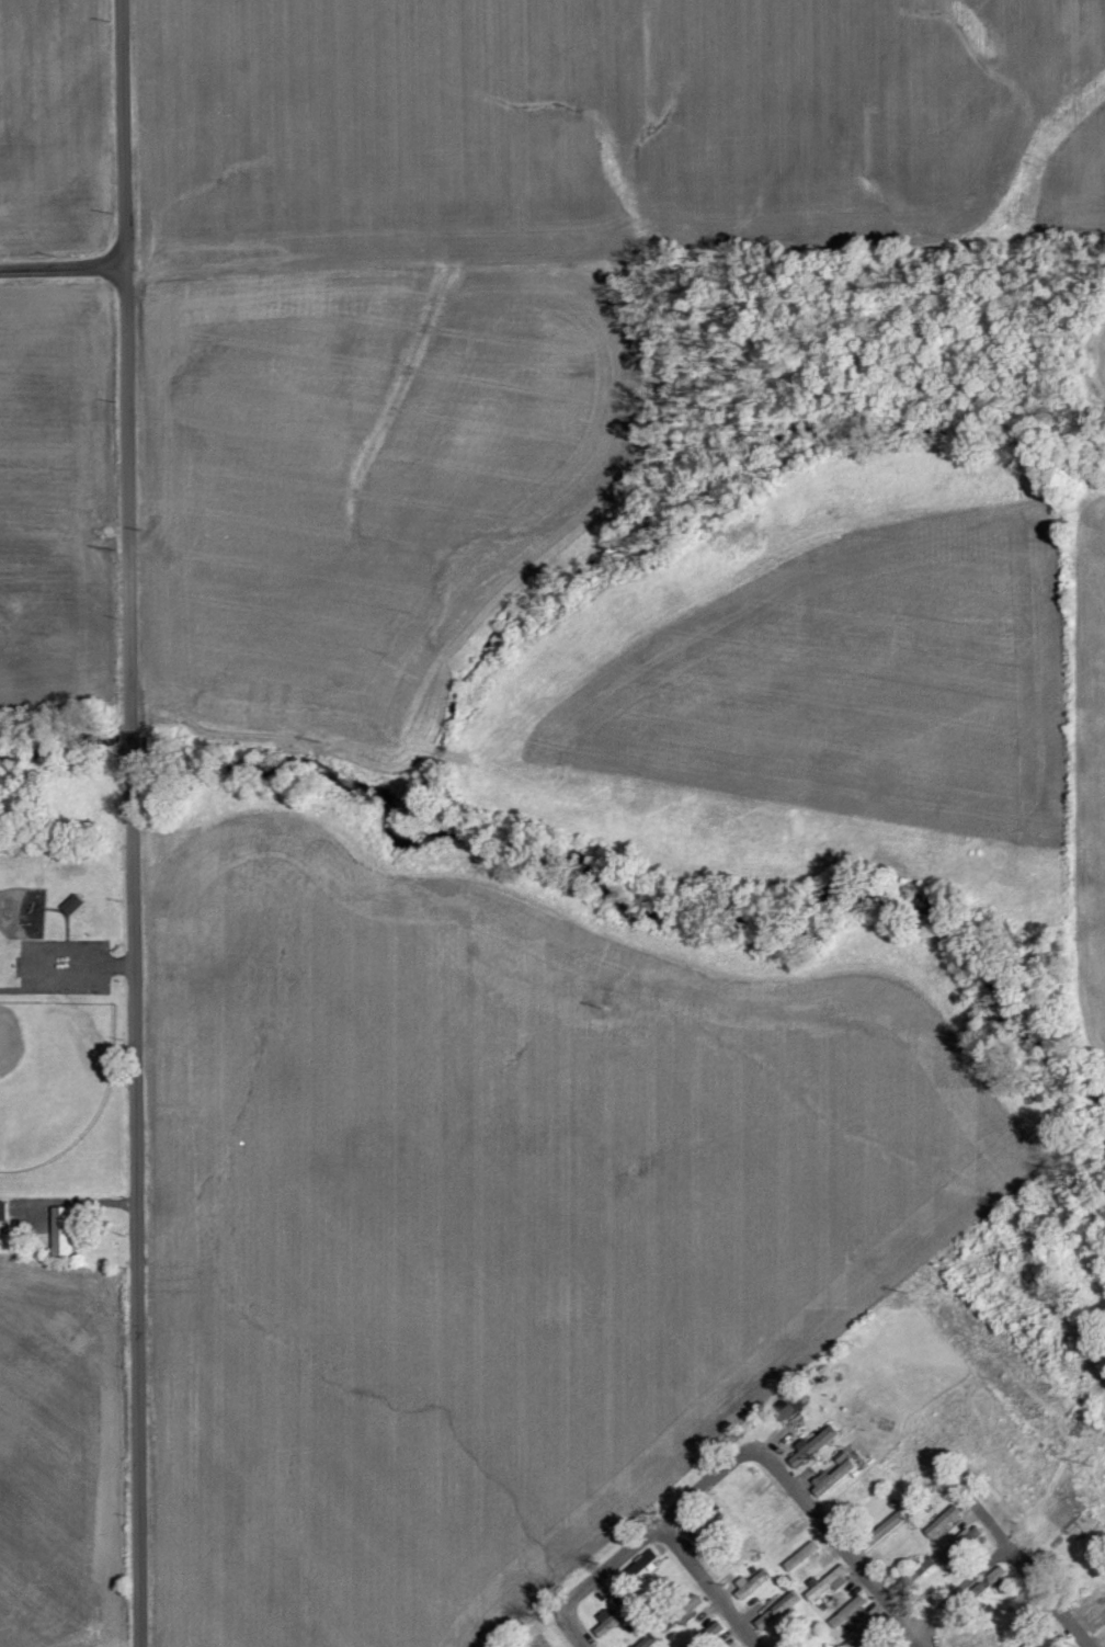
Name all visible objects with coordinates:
road: (64, 264)
road: (128, 362)
road: (133, 741)
building: (76, 904)
road: (138, 1202)
building: (5, 1211)
building: (66, 1231)
building: (793, 1410)
building: (816, 1446)
road: (739, 1456)
building: (836, 1478)
building: (945, 1521)
building: (893, 1524)
building: (710, 1526)
road: (993, 1526)
building: (965, 1545)
building: (804, 1556)
road: (1001, 1557)
building: (642, 1568)
building: (831, 1581)
building: (753, 1583)
road: (709, 1586)
building: (777, 1611)
building: (850, 1611)
building: (706, 1616)
building: (616, 1617)
building: (867, 1633)
building: (1045, 1640)
building: (651, 1642)

